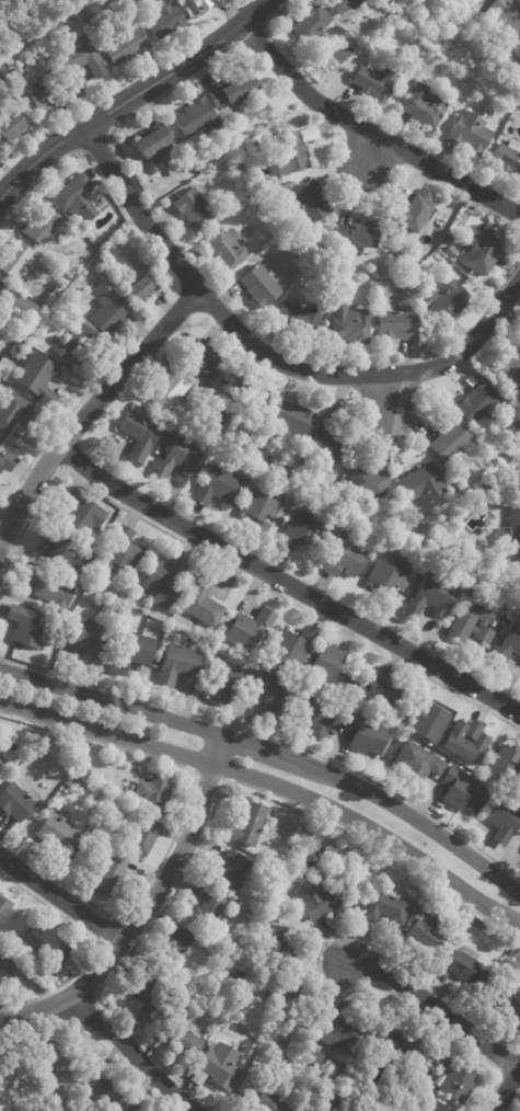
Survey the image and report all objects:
building: (129, 2)
building: (343, 4)
building: (197, 5)
building: (83, 14)
building: (504, 15)
building: (389, 16)
building: (406, 18)
building: (161, 22)
building: (309, 22)
building: (338, 30)
building: (455, 33)
building: (435, 35)
building: (123, 45)
building: (330, 45)
building: (516, 47)
building: (83, 58)
building: (9, 76)
building: (373, 82)
building: (0, 87)
building: (232, 90)
building: (519, 93)
building: (41, 95)
road: (131, 96)
building: (508, 105)
building: (421, 106)
building: (196, 117)
building: (9, 125)
building: (469, 131)
road: (371, 133)
building: (153, 141)
road: (368, 152)
building: (290, 153)
building: (507, 156)
building: (199, 165)
road: (37, 179)
building: (268, 184)
building: (257, 186)
building: (73, 197)
building: (97, 197)
building: (303, 199)
building: (192, 206)
building: (251, 208)
building: (411, 213)
building: (43, 227)
building: (358, 234)
building: (223, 248)
building: (482, 248)
building: (14, 259)
building: (258, 285)
building: (139, 288)
building: (56, 289)
building: (444, 298)
building: (377, 301)
building: (15, 308)
building: (107, 313)
building: (298, 317)
building: (349, 323)
building: (396, 325)
building: (74, 343)
road: (267, 358)
building: (200, 362)
building: (1, 367)
building: (508, 369)
building: (37, 378)
building: (167, 390)
building: (247, 394)
road: (392, 396)
building: (478, 402)
building: (15, 411)
road: (90, 411)
building: (290, 419)
building: (518, 424)
building: (138, 434)
building: (449, 438)
building: (326, 443)
road: (44, 444)
building: (240, 456)
building: (176, 457)
building: (7, 459)
building: (486, 461)
building: (263, 462)
building: (304, 465)
building: (287, 468)
building: (518, 481)
building: (368, 483)
building: (423, 483)
building: (216, 484)
building: (497, 493)
building: (259, 507)
building: (77, 515)
building: (510, 527)
building: (300, 531)
building: (119, 552)
building: (62, 553)
building: (342, 553)
building: (432, 554)
building: (516, 565)
road: (233, 570)
building: (388, 579)
building: (162, 581)
road: (286, 584)
building: (46, 589)
building: (430, 596)
building: (201, 602)
building: (472, 622)
building: (26, 626)
building: (247, 629)
building: (85, 635)
building: (262, 638)
building: (506, 645)
building: (291, 648)
building: (129, 651)
building: (176, 665)
building: (326, 667)
building: (224, 683)
building: (379, 692)
building: (271, 697)
road: (111, 701)
building: (317, 717)
building: (427, 719)
building: (365, 735)
road: (273, 738)
building: (465, 741)
road: (266, 749)
road: (197, 760)
building: (1, 761)
building: (416, 761)
building: (506, 766)
road: (274, 784)
building: (63, 786)
building: (461, 791)
building: (152, 792)
building: (15, 801)
building: (130, 813)
road: (208, 817)
building: (501, 818)
road: (177, 821)
road: (419, 823)
building: (249, 825)
building: (55, 834)
building: (140, 836)
building: (307, 836)
building: (91, 851)
building: (330, 856)
building: (227, 869)
building: (267, 870)
building: (108, 873)
road: (163, 880)
road: (60, 900)
building: (320, 901)
building: (384, 904)
building: (3, 906)
building: (205, 908)
road: (104, 928)
building: (477, 928)
building: (425, 934)
building: (43, 943)
building: (174, 946)
building: (277, 946)
road: (95, 947)
building: (5, 964)
building: (44, 966)
road: (316, 967)
building: (466, 969)
building: (0, 981)
building: (233, 982)
building: (285, 989)
building: (145, 995)
building: (508, 1001)
road: (436, 1009)
road: (24, 1010)
road: (32, 1010)
road: (96, 1021)
building: (222, 1024)
building: (342, 1032)
building: (178, 1040)
building: (288, 1040)
building: (394, 1045)
road: (108, 1046)
road: (131, 1052)
building: (311, 1056)
building: (56, 1060)
building: (218, 1066)
road: (499, 1072)
building: (342, 1074)
building: (451, 1079)
building: (8, 1083)
road: (506, 1089)
building: (102, 1090)
building: (309, 1092)
building: (262, 1100)
road: (513, 1101)
building: (334, 1106)
building: (434, 1107)
building: (127, 1108)
building: (300, 1108)

